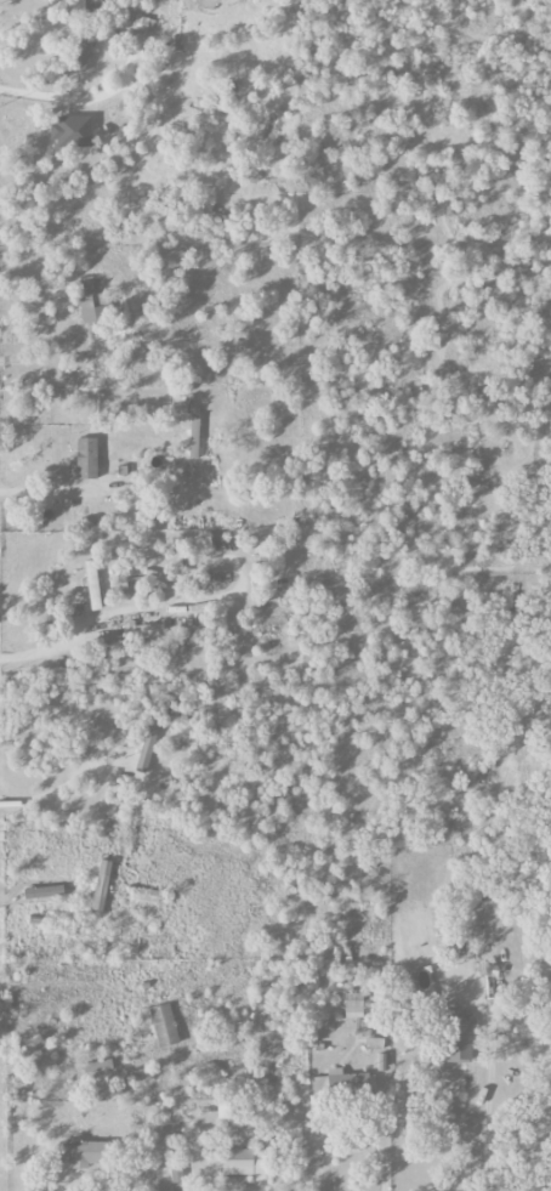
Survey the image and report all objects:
building: (100, 5)
building: (137, 23)
building: (84, 50)
road: (78, 100)
building: (70, 131)
building: (91, 304)
road: (58, 314)
building: (193, 436)
building: (86, 459)
building: (92, 585)
building: (147, 745)
road: (63, 784)
building: (101, 887)
building: (42, 892)
building: (142, 895)
building: (353, 1005)
building: (163, 1025)
building: (458, 1039)
building: (342, 1083)
road: (483, 1121)
building: (81, 1152)
building: (243, 1161)

